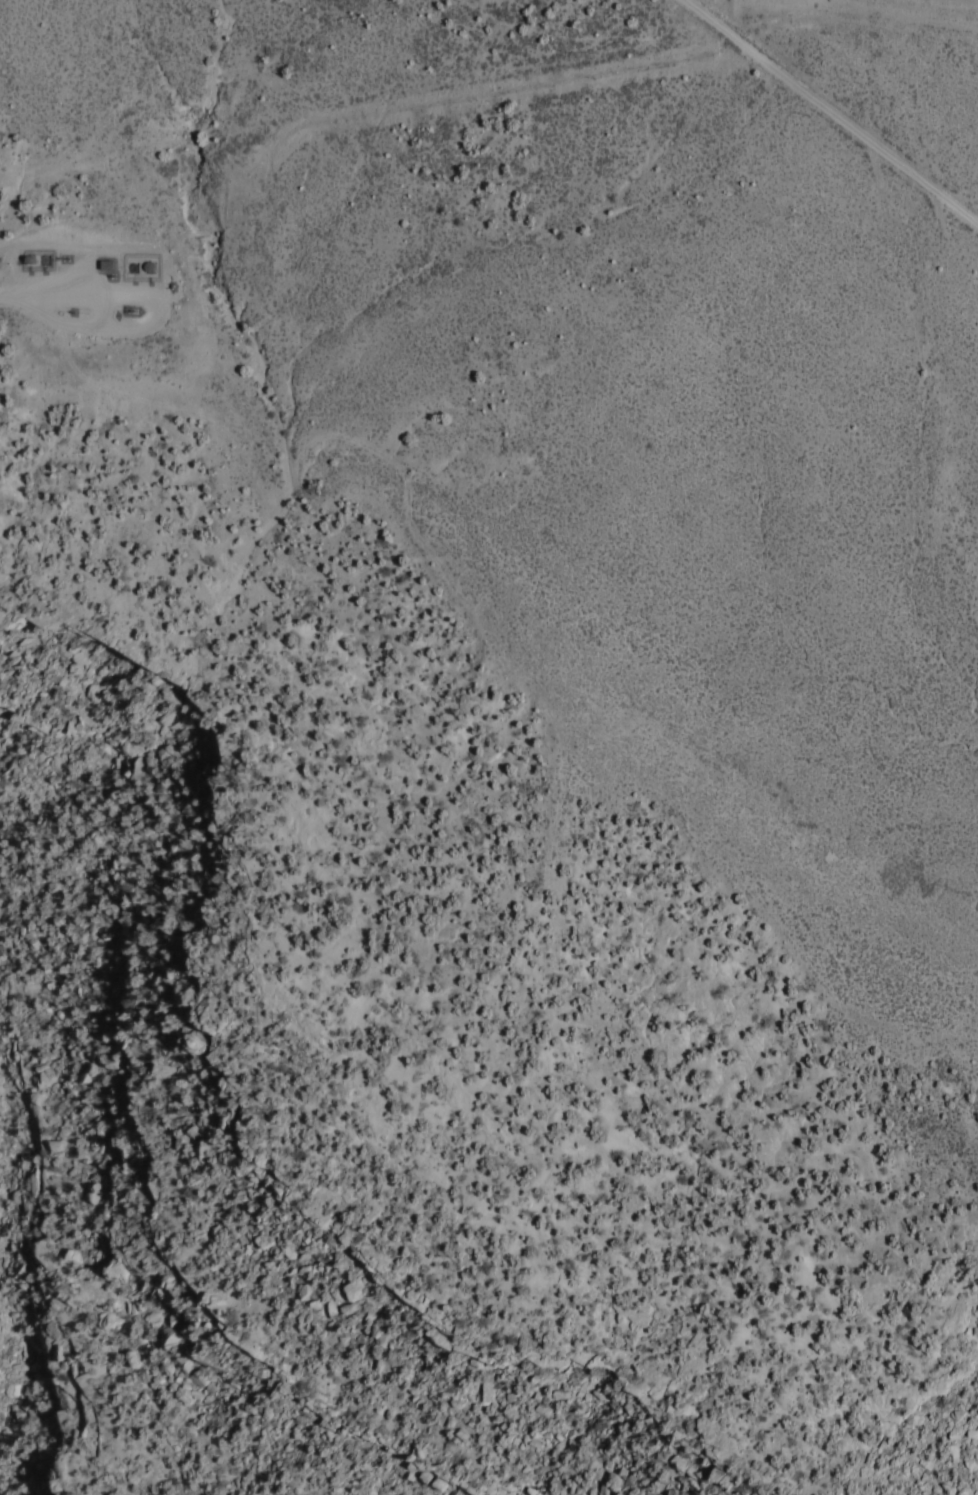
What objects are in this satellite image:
road: (877, 76)

